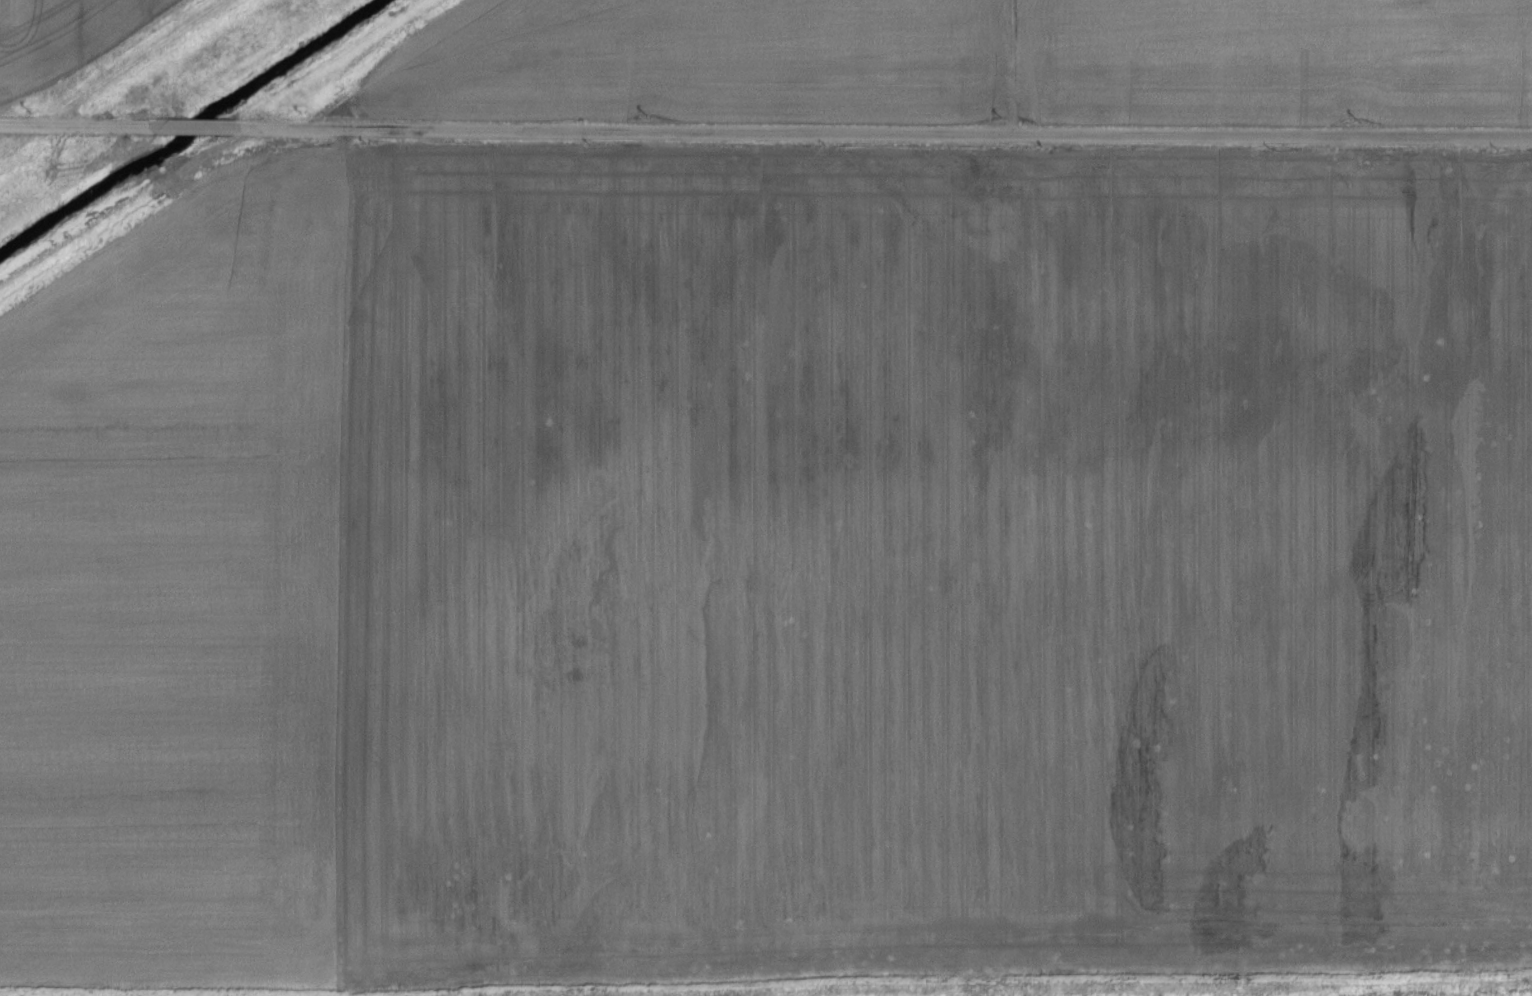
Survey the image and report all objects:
road: (1006, 67)
road: (765, 132)
road: (1427, 247)

